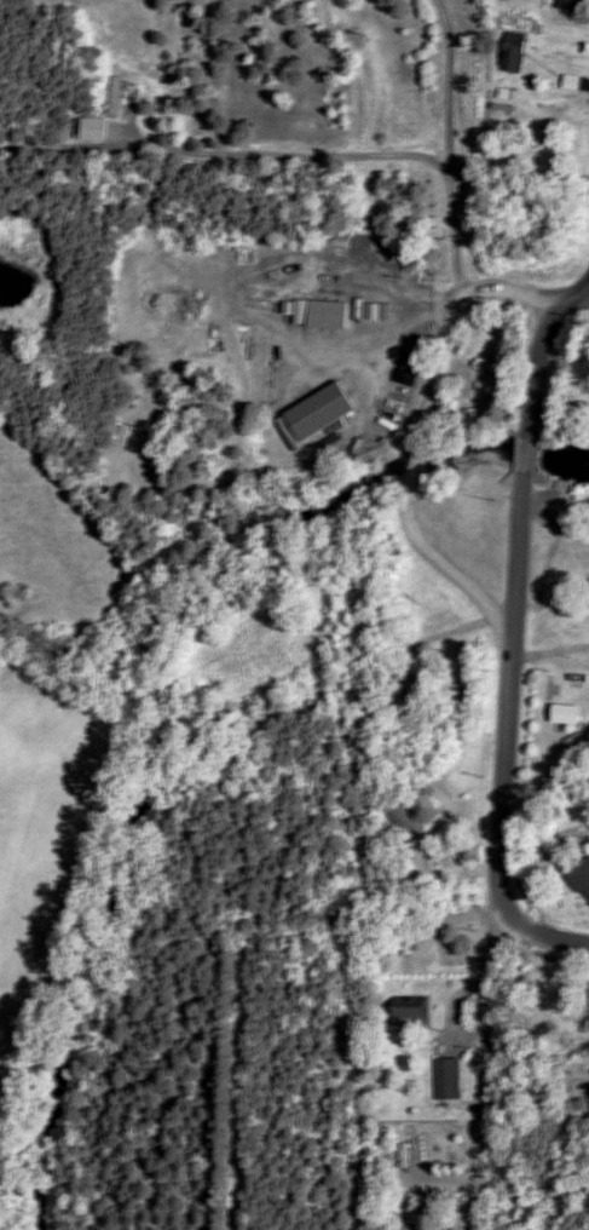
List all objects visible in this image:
building: (573, 4)
building: (512, 51)
road: (447, 146)
road: (279, 155)
building: (352, 255)
road: (588, 280)
road: (588, 287)
building: (369, 310)
building: (319, 412)
building: (143, 414)
road: (425, 426)
road: (506, 748)
building: (409, 818)
building: (583, 876)
road: (542, 921)
building: (415, 1013)
building: (451, 1079)
building: (585, 1110)

